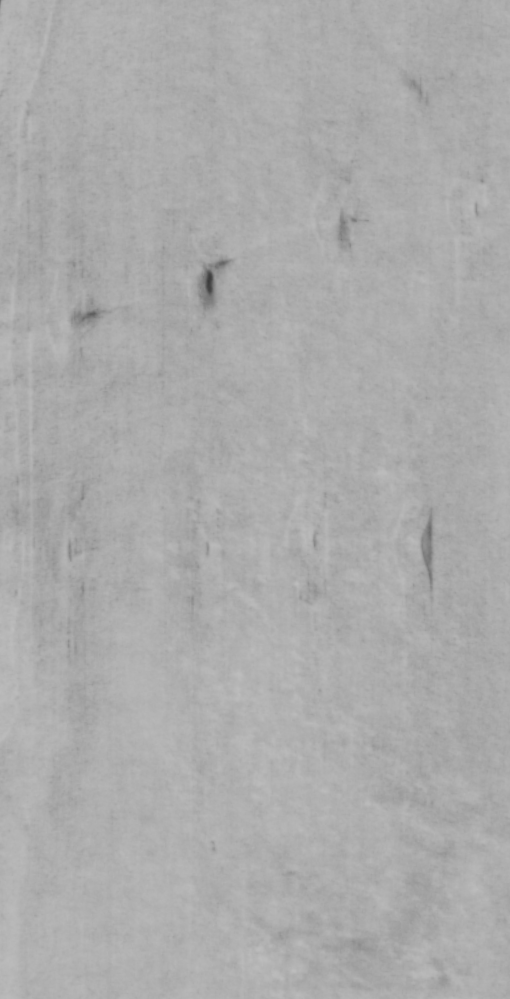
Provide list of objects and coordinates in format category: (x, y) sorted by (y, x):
building: (334, 881)

